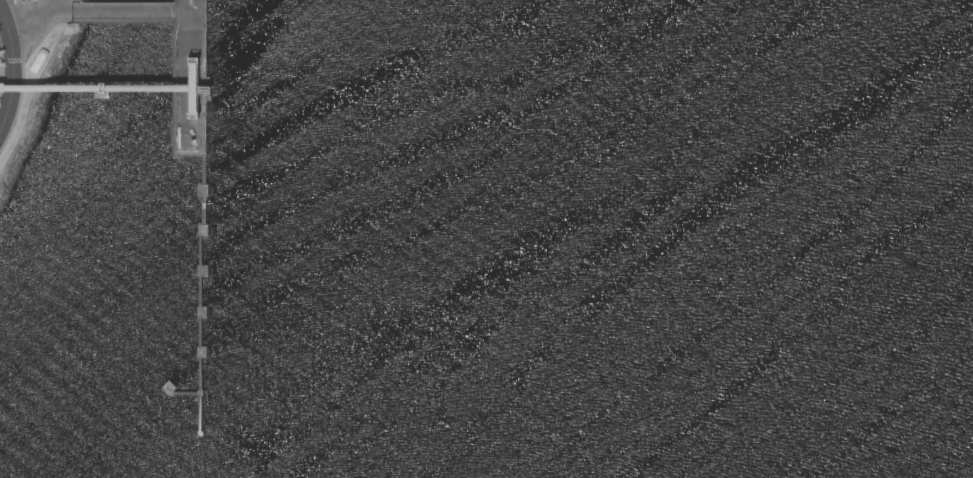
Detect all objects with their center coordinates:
road: (14, 68)
building: (121, 89)
pier: (101, 90)
pier: (193, 90)
pier: (199, 286)

